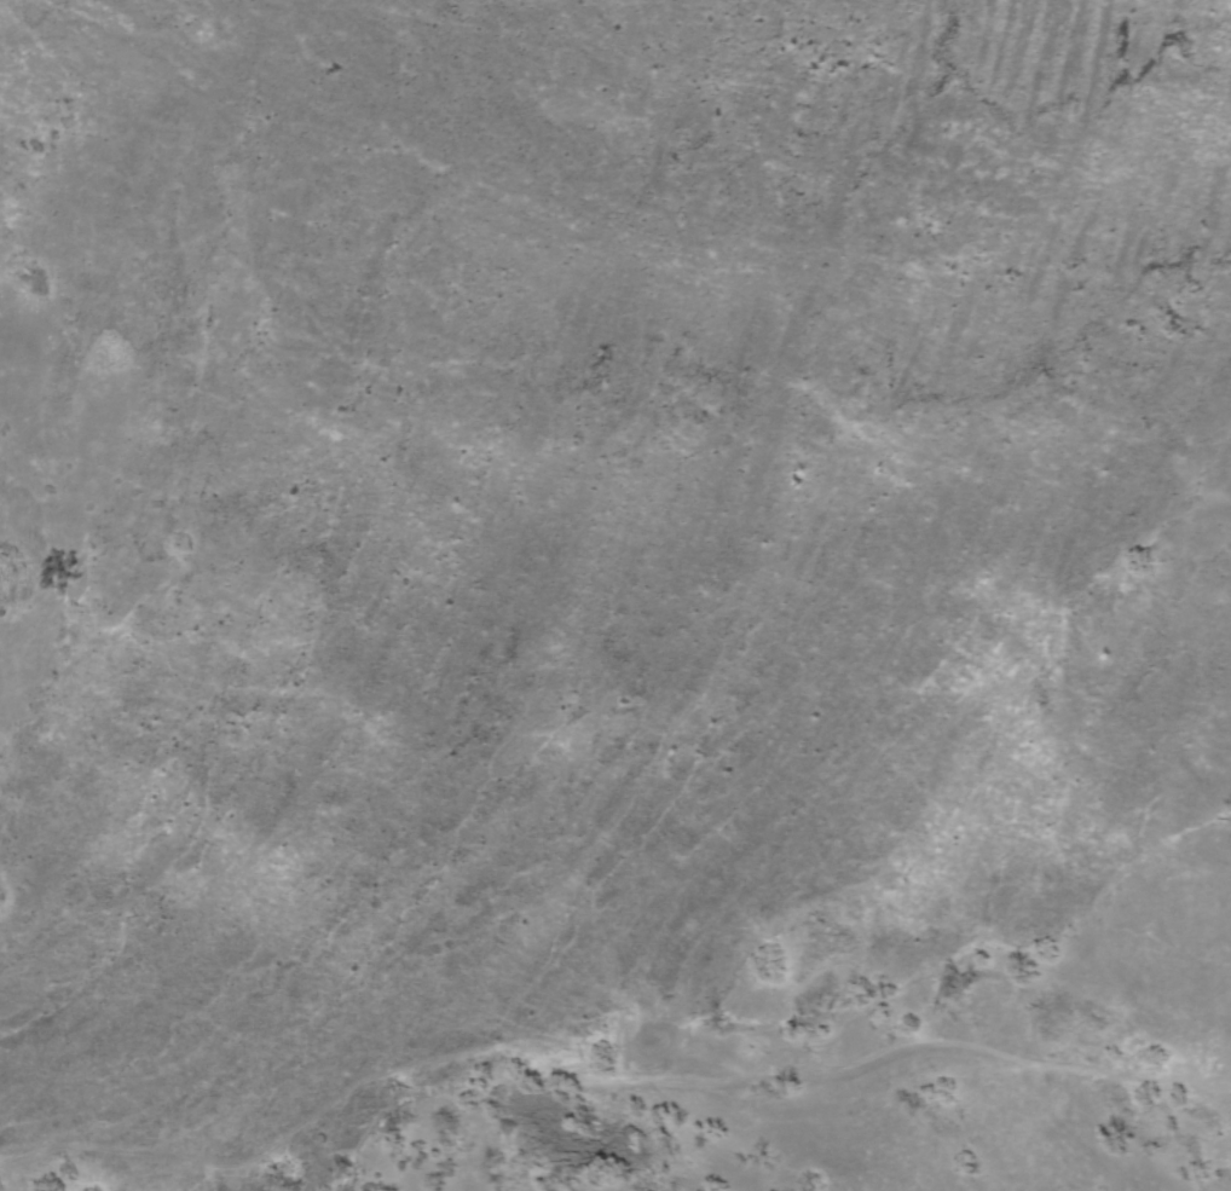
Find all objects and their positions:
crop: (91, 1013)
road: (597, 1069)

